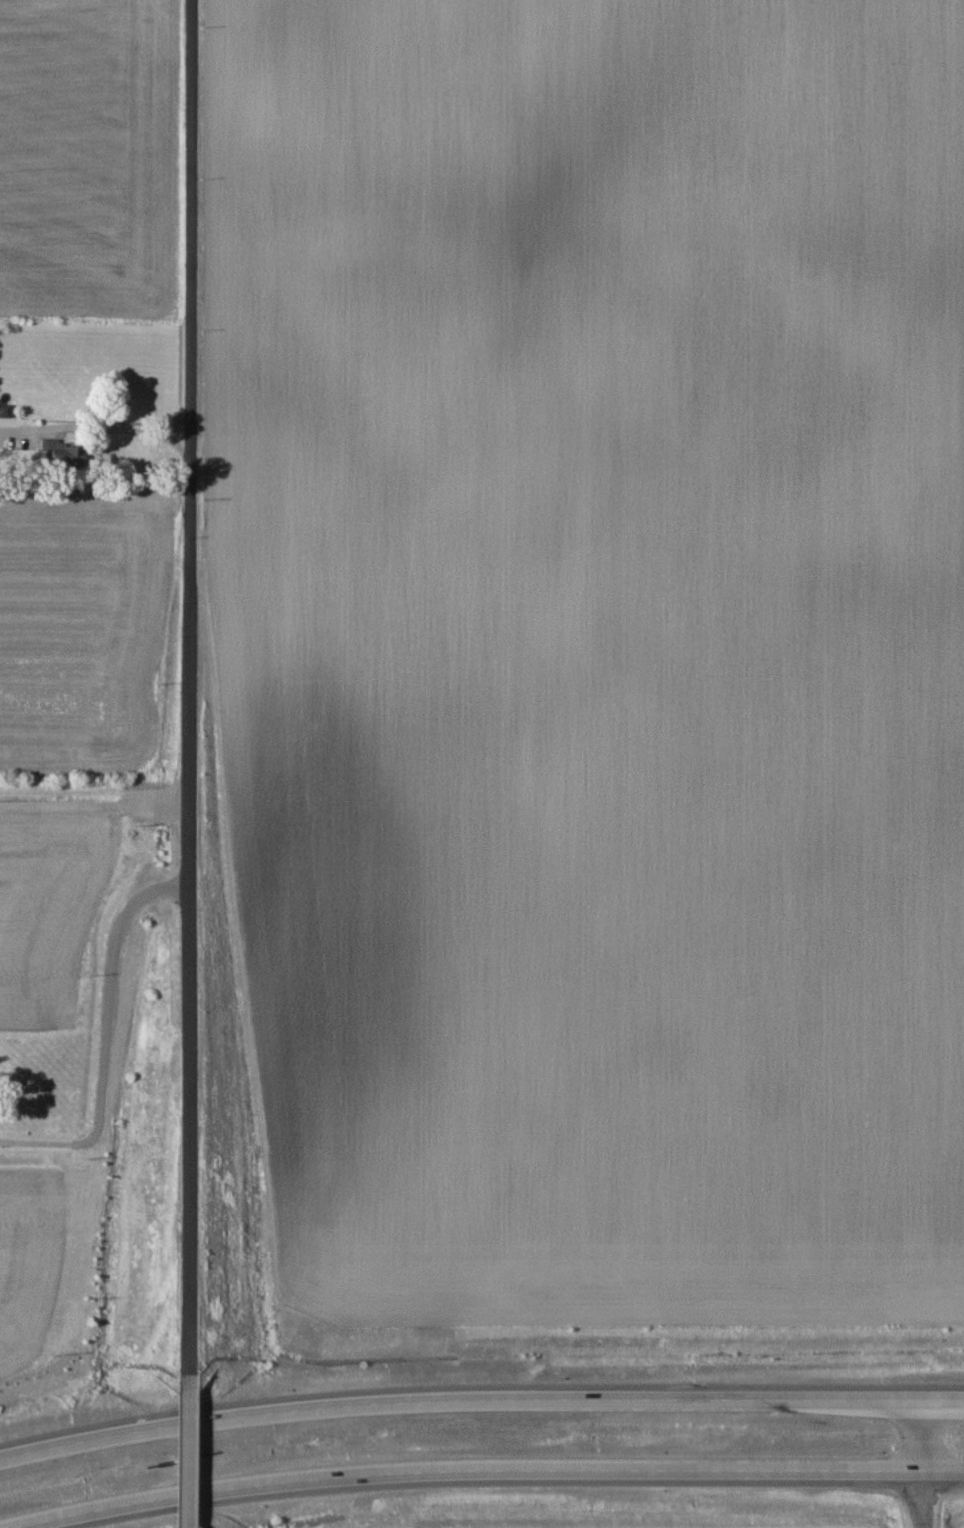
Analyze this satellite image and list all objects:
building: (65, 453)
road: (190, 694)
road: (108, 1033)
road: (479, 1399)
road: (179, 1458)
road: (915, 1463)
road: (489, 1464)

